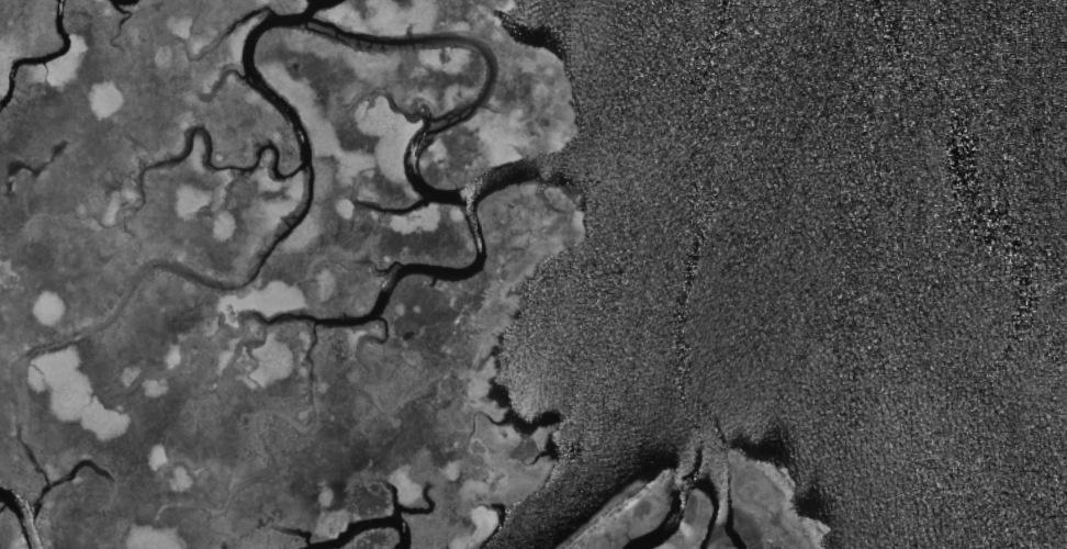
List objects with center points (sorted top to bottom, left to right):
road: (625, 508)

